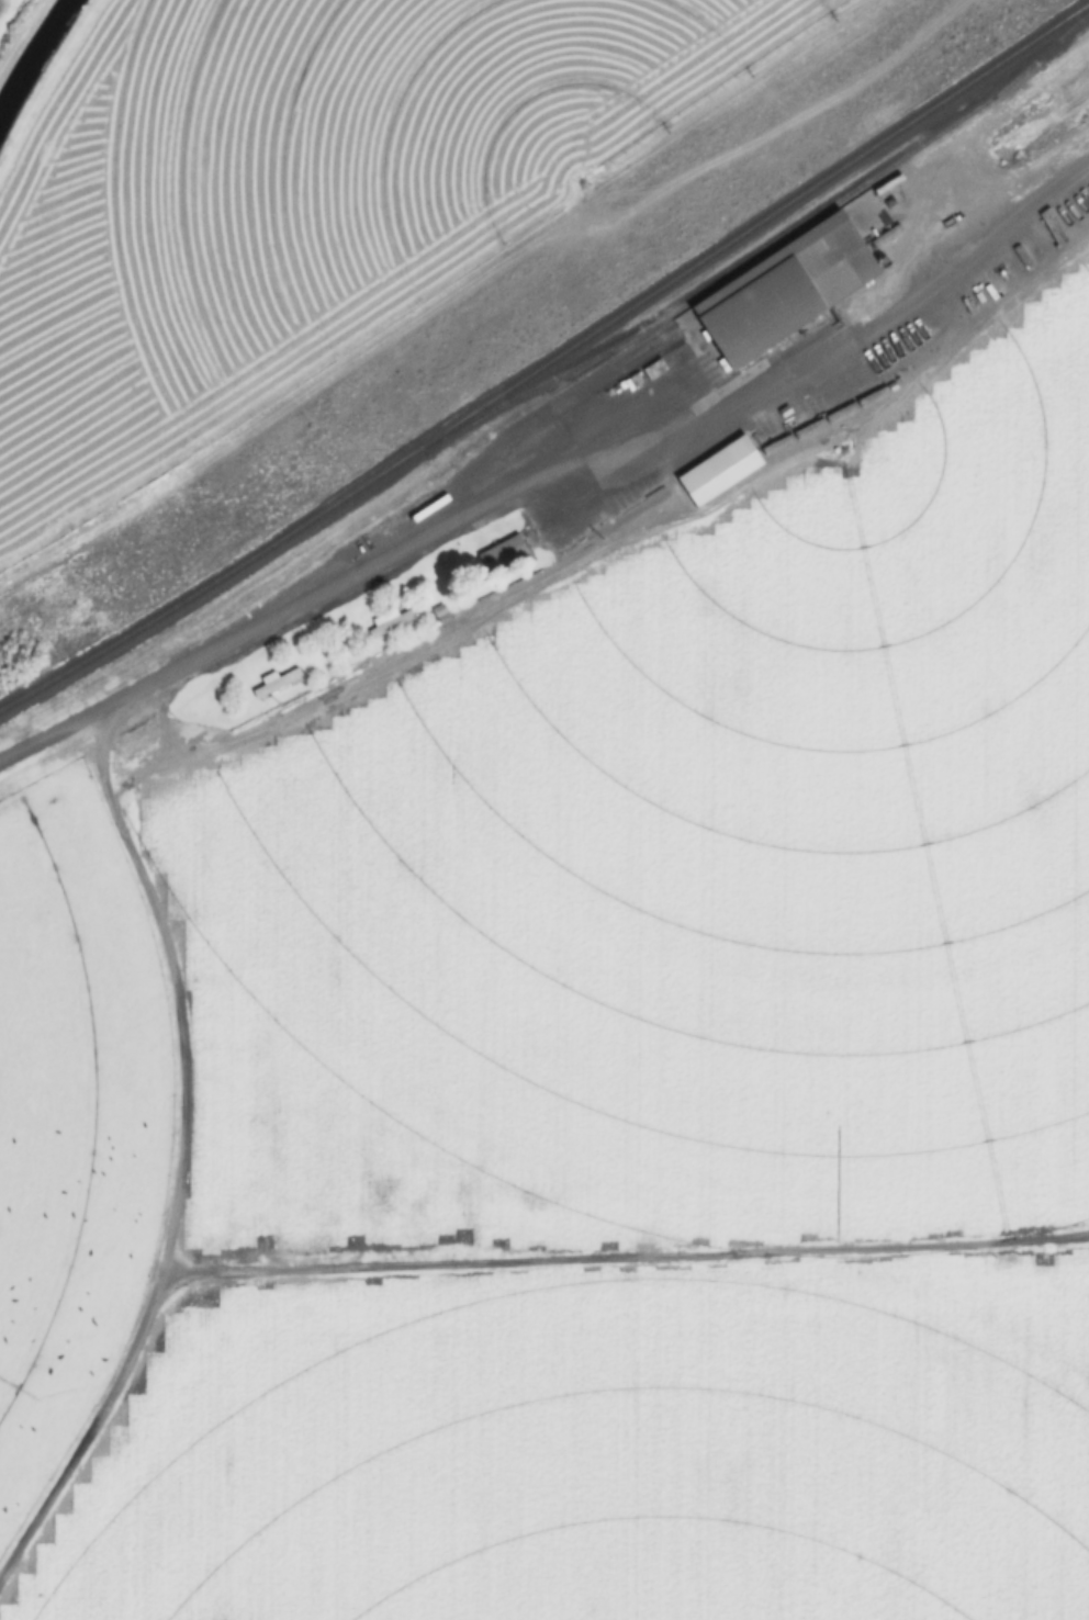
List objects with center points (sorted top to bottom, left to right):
crop: (5, 10)
railway: (764, 247)
road: (478, 279)
building: (785, 288)
railway: (549, 362)
building: (720, 471)
building: (483, 481)
building: (502, 554)
road: (337, 593)
building: (439, 612)
building: (389, 622)
building: (276, 685)

